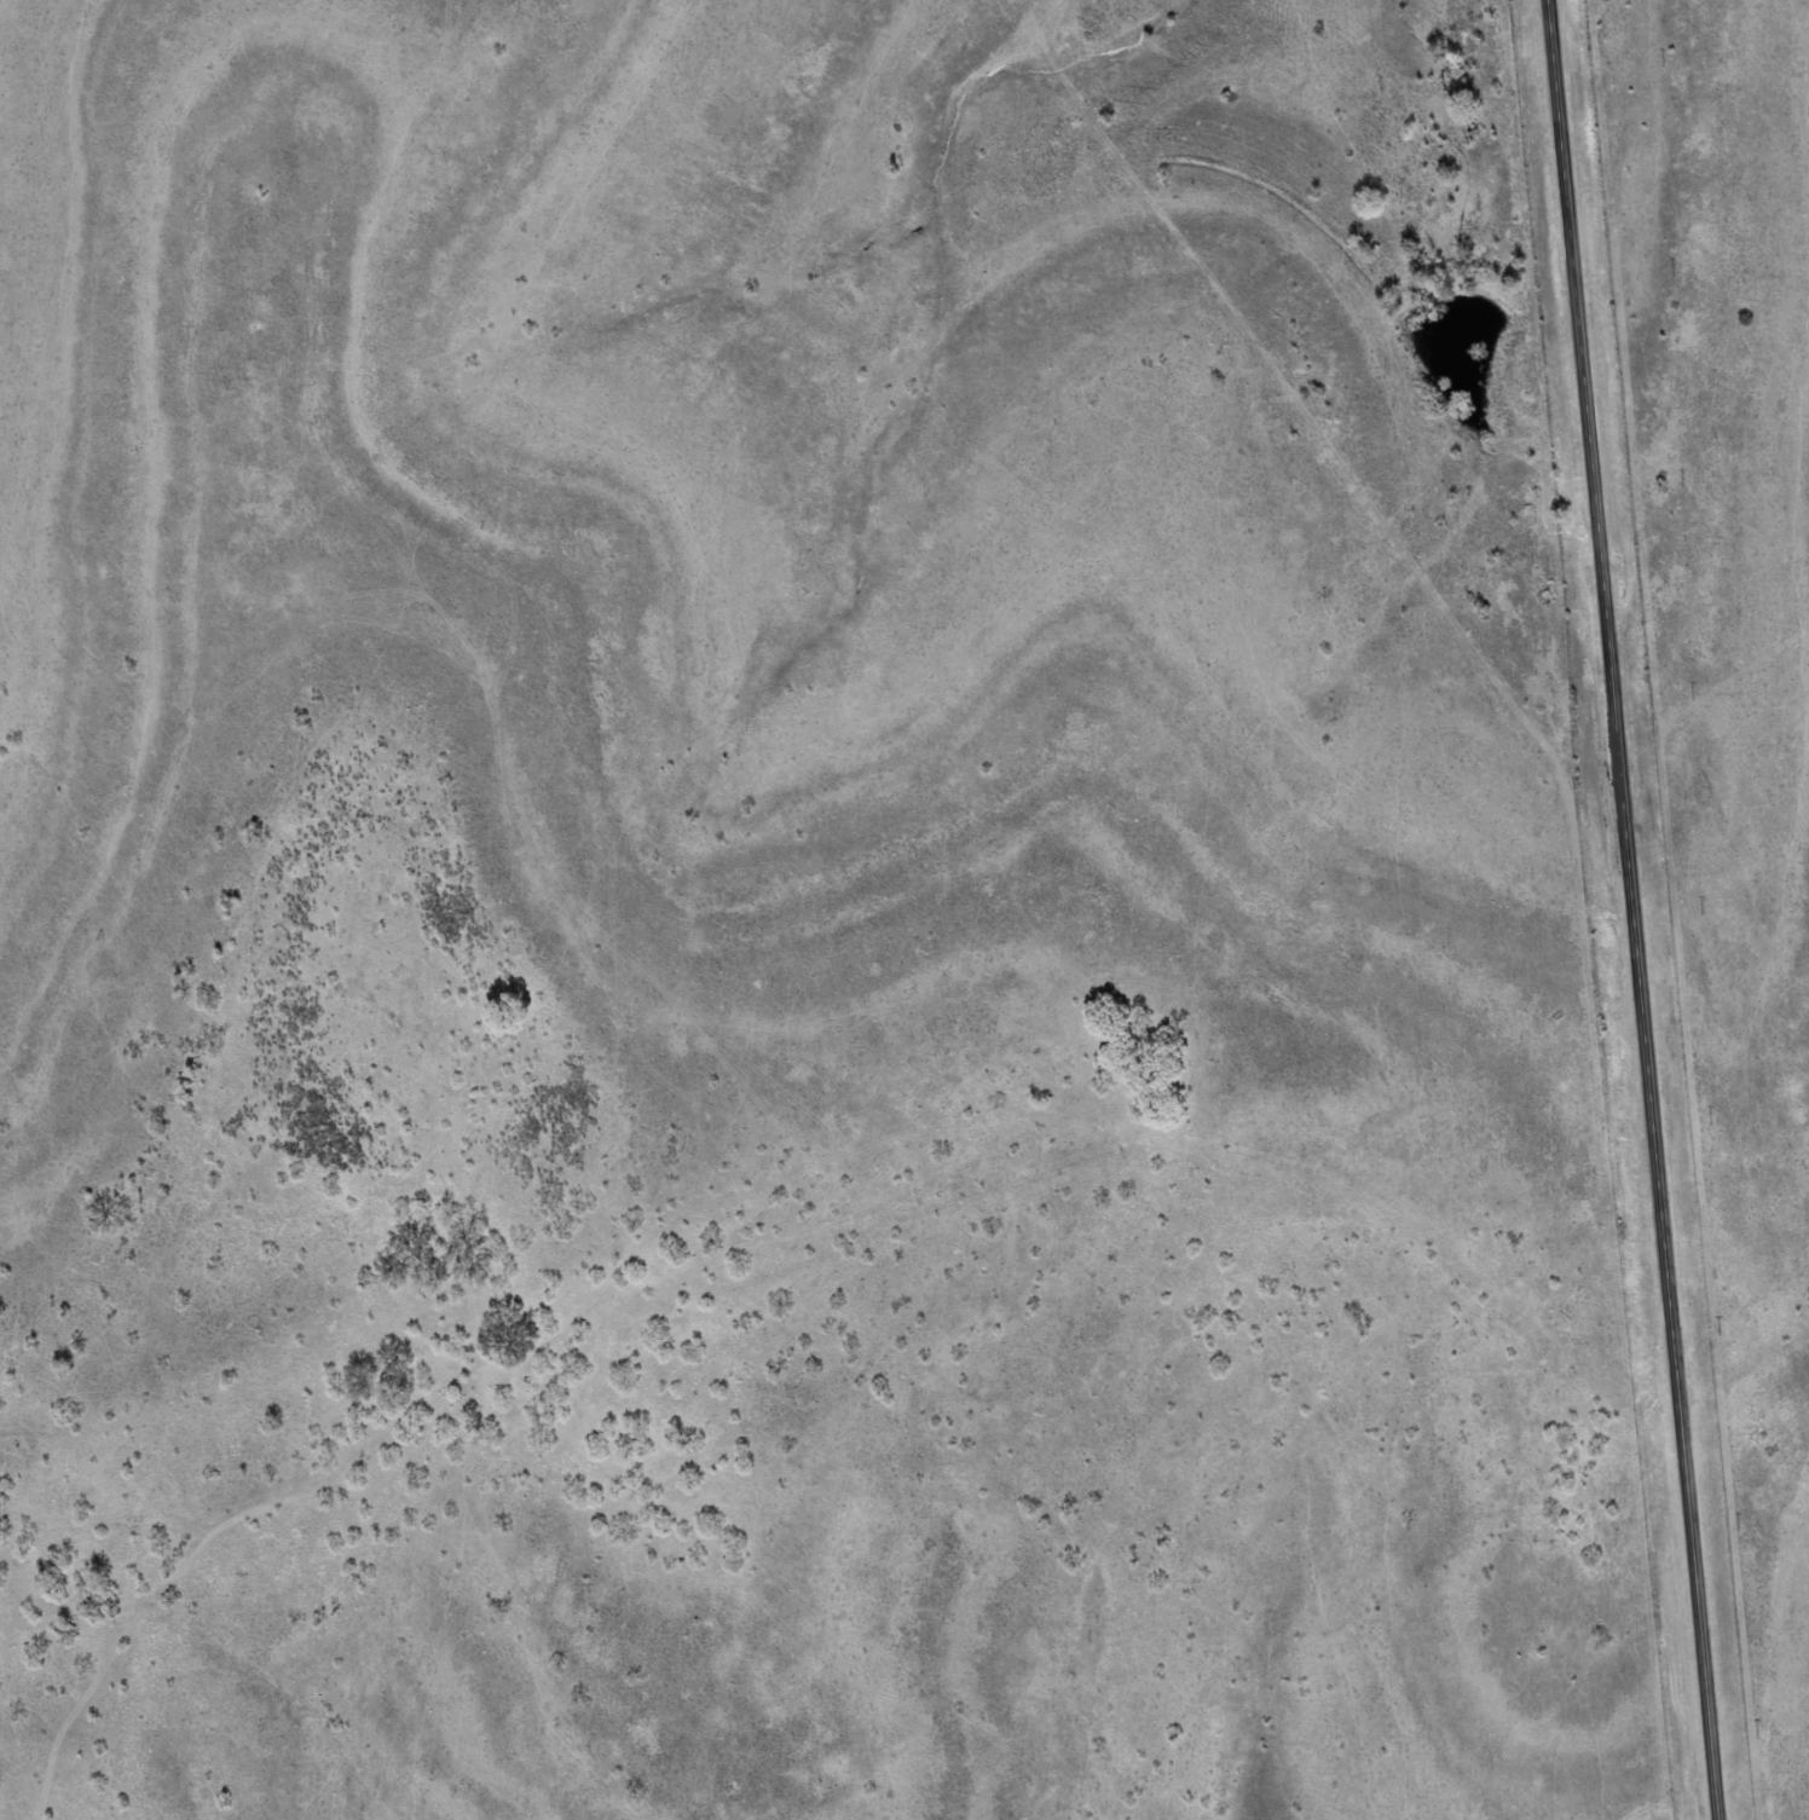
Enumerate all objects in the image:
road: (1640, 909)

